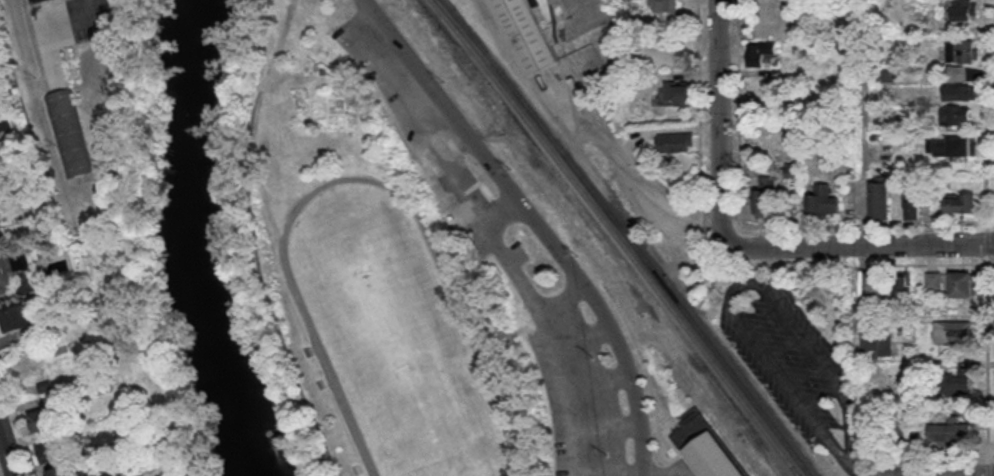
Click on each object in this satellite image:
building: (37, 0)
building: (665, 5)
road: (91, 9)
building: (962, 9)
road: (269, 25)
building: (562, 32)
building: (962, 49)
building: (760, 51)
building: (955, 71)
parking lot: (388, 77)
road: (699, 82)
building: (960, 91)
building: (678, 92)
road: (725, 108)
road: (985, 114)
building: (956, 115)
building: (66, 116)
building: (676, 141)
building: (955, 146)
road: (990, 152)
road: (631, 175)
road: (356, 178)
building: (766, 196)
building: (879, 198)
building: (823, 199)
building: (961, 201)
building: (911, 204)
building: (454, 207)
road: (272, 209)
road: (534, 215)
road: (754, 224)
building: (0, 225)
railway: (617, 236)
railway: (628, 236)
building: (1, 237)
road: (854, 240)
road: (257, 242)
road: (987, 242)
river: (199, 243)
road: (505, 247)
road: (939, 263)
building: (12, 268)
park: (396, 268)
building: (933, 278)
building: (874, 279)
building: (903, 283)
building: (963, 283)
road: (746, 291)
road: (564, 296)
building: (16, 313)
road: (583, 331)
building: (952, 331)
park: (395, 338)
building: (878, 343)
parking lot: (792, 356)
road: (987, 358)
parking lot: (574, 363)
road: (646, 367)
road: (600, 378)
building: (957, 382)
building: (47, 385)
road: (570, 388)
road: (19, 417)
building: (45, 419)
road: (609, 425)
building: (949, 433)
building: (55, 450)
road: (991, 450)
road: (7, 452)
building: (712, 456)
road: (647, 466)
road: (667, 468)
road: (988, 468)
building: (71, 470)
road: (613, 471)
road: (866, 471)
road: (666, 473)
road: (934, 473)
road: (876, 474)

